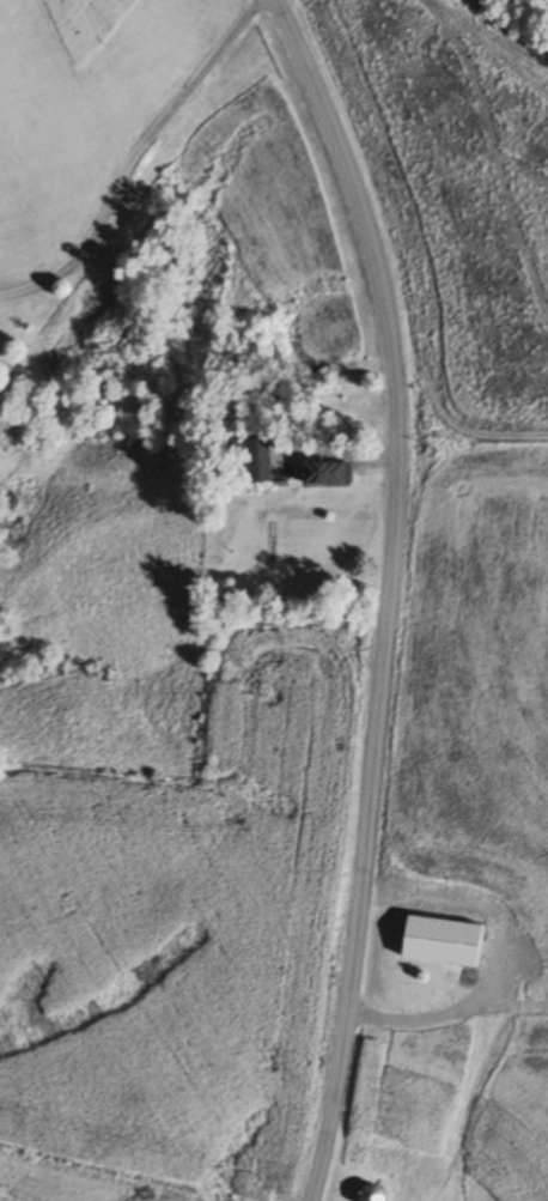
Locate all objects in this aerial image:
road: (134, 159)
building: (258, 461)
building: (327, 474)
road: (386, 593)
building: (444, 942)
building: (375, 1193)

